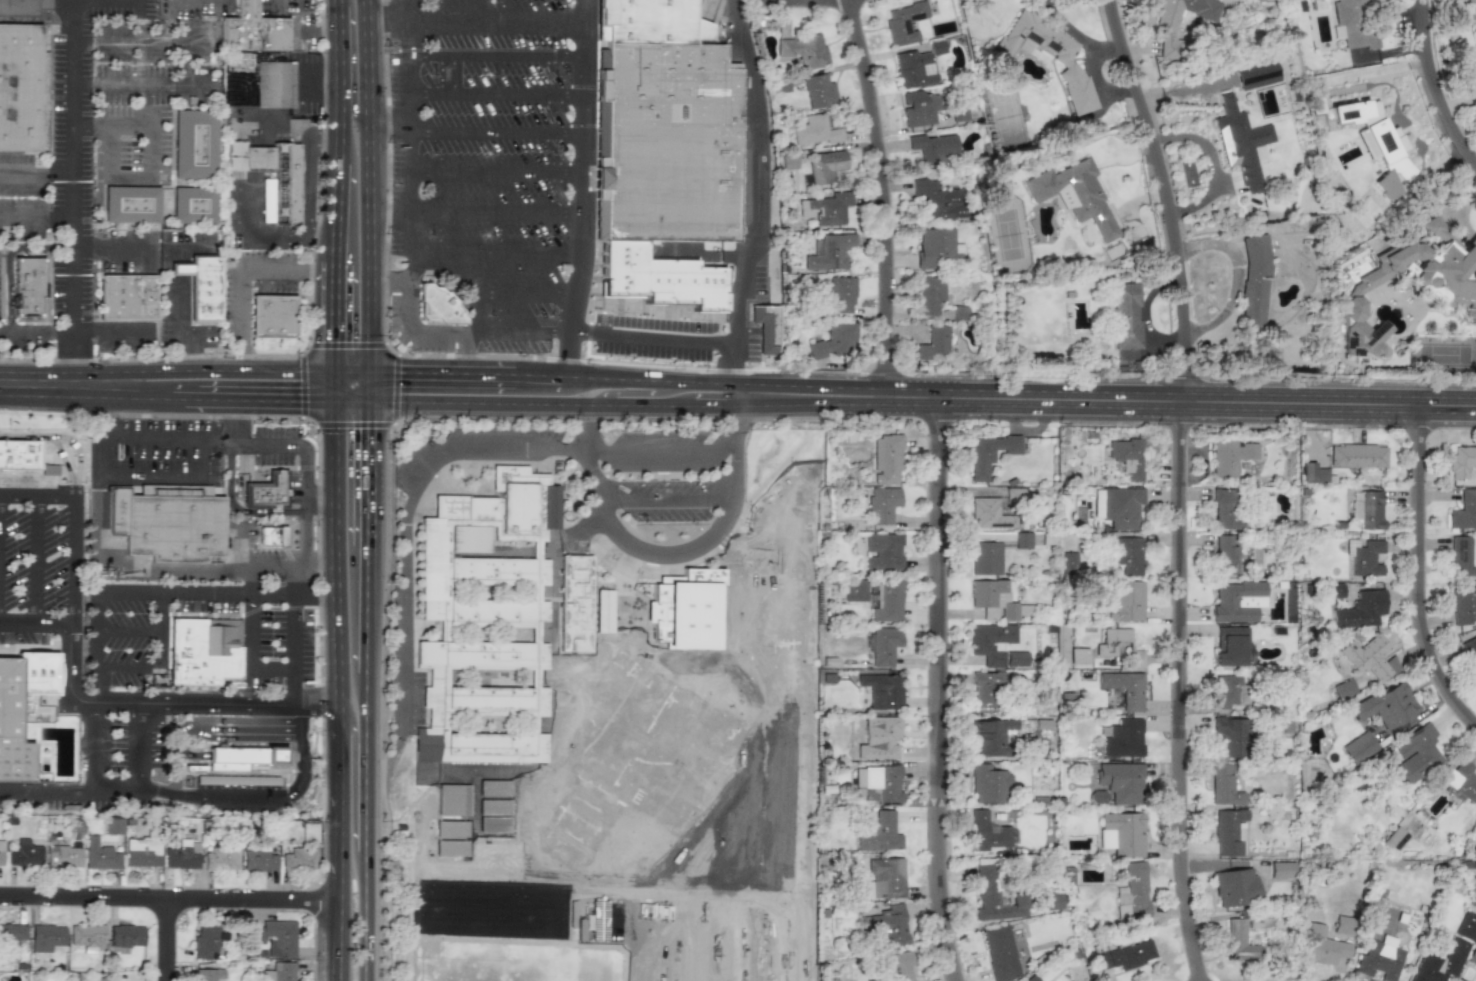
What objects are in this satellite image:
road: (277, 3)
road: (799, 6)
building: (1473, 16)
road: (386, 21)
building: (1181, 21)
building: (650, 22)
building: (903, 22)
building: (1354, 24)
road: (499, 26)
building: (252, 30)
road: (304, 37)
road: (137, 40)
building: (936, 47)
building: (803, 50)
road: (498, 56)
building: (1063, 61)
road: (352, 63)
building: (913, 69)
building: (1256, 75)
road: (341, 82)
building: (273, 84)
road: (140, 86)
building: (22, 88)
building: (819, 91)
road: (1428, 94)
road: (498, 95)
parking lot: (480, 102)
building: (920, 108)
building: (959, 113)
road: (365, 117)
road: (388, 126)
building: (815, 130)
road: (497, 131)
building: (1374, 135)
building: (668, 143)
building: (1242, 143)
building: (194, 144)
building: (934, 148)
building: (247, 156)
road: (153, 161)
building: (825, 166)
road: (496, 173)
road: (760, 176)
road: (37, 177)
building: (1386, 186)
building: (282, 188)
road: (581, 190)
road: (75, 192)
building: (1074, 195)
road: (343, 199)
building: (938, 199)
road: (876, 201)
building: (131, 204)
building: (193, 205)
building: (826, 208)
road: (388, 213)
road: (495, 214)
road: (254, 215)
road: (37, 218)
building: (1473, 240)
road: (112, 245)
road: (343, 248)
building: (938, 248)
building: (830, 252)
road: (529, 255)
road: (8, 257)
road: (367, 257)
road: (480, 260)
road: (241, 266)
road: (409, 266)
building: (661, 279)
building: (1254, 280)
building: (1445, 284)
parking lot: (479, 285)
building: (28, 286)
building: (203, 286)
road: (528, 294)
building: (841, 294)
building: (929, 294)
building: (127, 296)
building: (439, 306)
road: (50, 310)
road: (368, 312)
building: (1126, 315)
building: (272, 316)
road: (341, 318)
building: (766, 327)
road: (311, 328)
road: (412, 331)
road: (74, 332)
road: (472, 333)
parking lot: (657, 337)
building: (834, 341)
building: (933, 342)
road: (348, 346)
road: (408, 355)
road: (369, 360)
road: (218, 370)
road: (736, 370)
road: (354, 374)
road: (416, 375)
road: (488, 377)
road: (536, 378)
road: (650, 383)
road: (50, 384)
road: (302, 385)
road: (339, 386)
road: (368, 387)
road: (624, 390)
road: (134, 397)
road: (267, 397)
road: (183, 398)
road: (353, 400)
road: (415, 403)
road: (578, 405)
road: (717, 405)
road: (1107, 410)
road: (231, 422)
road: (392, 424)
parking lot: (502, 434)
parking lot: (662, 436)
road: (68, 437)
road: (137, 445)
road: (586, 450)
road: (304, 451)
parking lot: (167, 452)
parking lot: (280, 453)
building: (988, 453)
building: (32, 454)
road: (667, 454)
building: (1357, 455)
building: (1127, 456)
building: (1229, 456)
building: (886, 458)
building: (1461, 460)
parking lot: (410, 462)
road: (561, 462)
road: (284, 467)
road: (367, 473)
road: (169, 476)
road: (1181, 486)
road: (538, 490)
building: (267, 491)
building: (1015, 494)
road: (319, 496)
road: (695, 496)
road: (36, 497)
road: (667, 502)
building: (882, 504)
building: (1097, 506)
building: (1121, 506)
building: (464, 507)
building: (550, 507)
building: (516, 509)
building: (1368, 509)
building: (1227, 510)
building: (116, 511)
building: (1464, 511)
road: (244, 513)
building: (989, 513)
road: (577, 517)
road: (726, 523)
building: (173, 527)
road: (495, 531)
building: (273, 536)
road: (305, 538)
building: (469, 538)
road: (615, 540)
building: (1023, 540)
parking lot: (33, 544)
building: (882, 551)
road: (407, 554)
building: (1226, 555)
building: (1463, 555)
building: (1127, 556)
building: (985, 557)
building: (1367, 558)
road: (36, 561)
road: (120, 562)
building: (1068, 562)
road: (316, 563)
road: (272, 564)
building: (431, 568)
building: (489, 569)
road: (293, 578)
road: (1413, 582)
road: (490, 583)
parking lot: (615, 586)
road: (251, 587)
building: (854, 590)
building: (1336, 590)
road: (162, 591)
road: (70, 599)
road: (293, 600)
building: (993, 600)
building: (887, 601)
building: (1125, 601)
building: (1237, 601)
building: (575, 604)
building: (1463, 604)
parking lot: (204, 605)
road: (306, 607)
road: (271, 608)
building: (1360, 609)
road: (366, 610)
building: (489, 611)
building: (603, 611)
road: (211, 615)
road: (34, 624)
road: (490, 624)
road: (148, 631)
parking lot: (127, 642)
building: (990, 642)
building: (883, 645)
building: (1118, 645)
building: (1229, 645)
parking lot: (282, 649)
road: (341, 649)
building: (204, 650)
building: (1470, 652)
building: (473, 653)
building: (1078, 655)
building: (1370, 657)
building: (1016, 658)
road: (146, 666)
road: (534, 667)
road: (274, 670)
building: (986, 687)
building: (1124, 688)
building: (1343, 688)
road: (293, 689)
building: (881, 690)
building: (1226, 691)
road: (933, 695)
building: (489, 698)
road: (366, 701)
building: (1386, 705)
road: (205, 706)
building: (24, 709)
road: (488, 713)
road: (356, 714)
park: (608, 733)
building: (989, 736)
building: (879, 737)
building: (1231, 737)
building: (1124, 738)
building: (487, 744)
road: (90, 746)
road: (137, 747)
building: (1358, 747)
park: (574, 752)
building: (1414, 754)
building: (242, 758)
building: (1461, 780)
building: (1121, 781)
building: (877, 783)
building: (989, 784)
building: (1224, 786)
building: (494, 788)
road: (68, 789)
road: (366, 791)
road: (257, 796)
building: (1098, 796)
building: (453, 800)
road: (413, 805)
building: (494, 807)
building: (523, 818)
building: (542, 818)
building: (494, 824)
building: (113, 825)
building: (978, 829)
building: (309, 832)
building: (1229, 832)
building: (880, 833)
building: (1121, 833)
building: (1395, 839)
park: (703, 848)
building: (142, 852)
building: (1, 853)
building: (25, 853)
building: (100, 855)
building: (182, 855)
building: (221, 858)
building: (299, 860)
building: (259, 861)
building: (1281, 869)
building: (886, 877)
building: (985, 879)
building: (1069, 879)
building: (1235, 887)
road: (410, 894)
building: (1133, 894)
road: (170, 901)
building: (1047, 901)
park: (508, 915)
road: (365, 917)
building: (887, 925)
building: (1342, 925)
building: (12, 934)
building: (86, 935)
building: (126, 936)
building: (46, 938)
building: (275, 938)
road: (165, 941)
building: (207, 941)
road: (340, 941)
building: (1239, 941)
building: (1321, 946)
building: (999, 953)
building: (1447, 953)
building: (1126, 955)
building: (1379, 958)
building: (208, 975)
building: (1029, 978)
building: (1459, 980)

